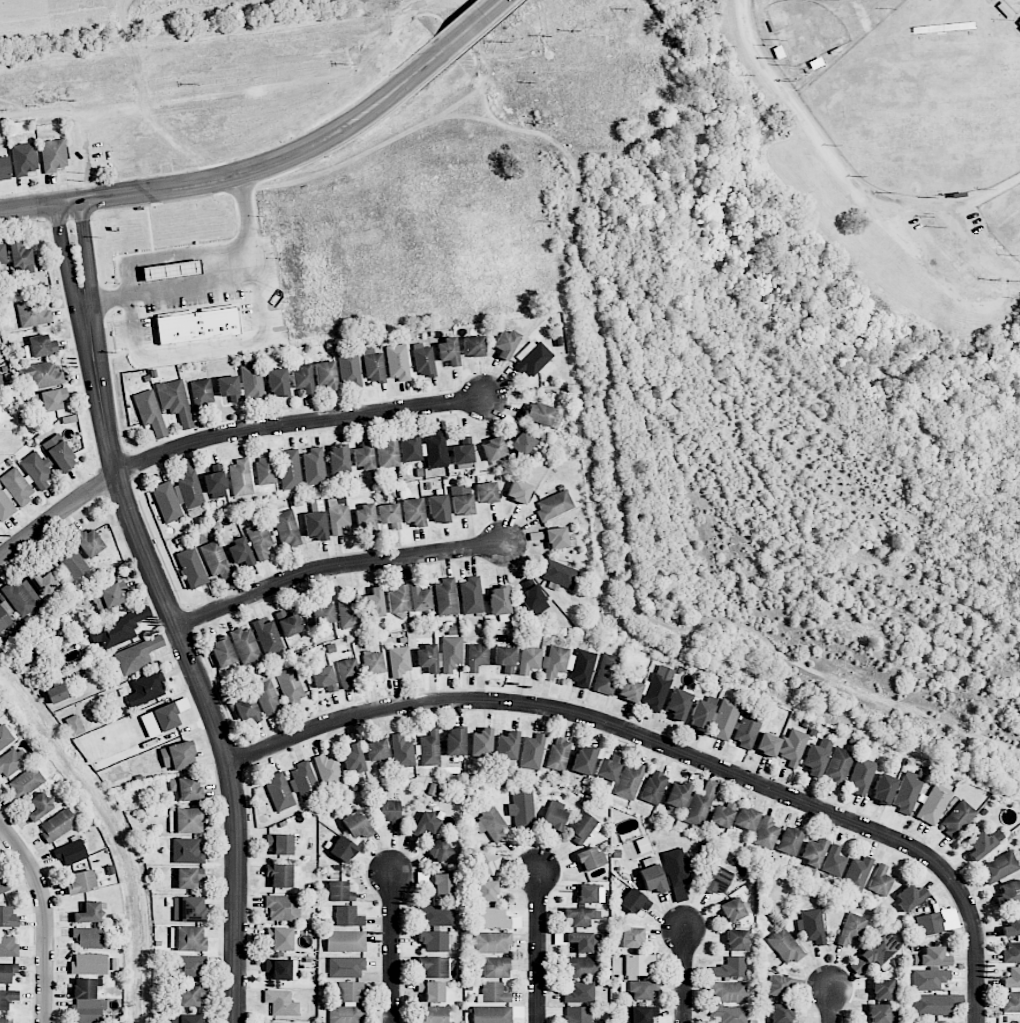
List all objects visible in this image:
building: (1019, 22)
road: (473, 24)
building: (53, 155)
building: (23, 159)
building: (4, 168)
road: (840, 171)
road: (239, 175)
road: (87, 252)
road: (63, 255)
building: (21, 257)
building: (2, 258)
road: (191, 283)
building: (33, 313)
building: (198, 326)
building: (505, 343)
road: (225, 345)
building: (40, 346)
building: (473, 346)
building: (448, 351)
building: (532, 358)
building: (424, 361)
building: (398, 363)
building: (374, 366)
building: (349, 370)
building: (42, 374)
building: (326, 375)
building: (302, 379)
building: (251, 381)
building: (277, 382)
building: (1, 385)
building: (229, 387)
building: (202, 391)
building: (53, 399)
building: (175, 401)
building: (150, 412)
building: (542, 414)
road: (224, 436)
building: (522, 443)
building: (425, 449)
building: (493, 449)
building: (462, 450)
building: (387, 452)
building: (59, 453)
building: (364, 456)
building: (338, 459)
building: (314, 466)
building: (289, 469)
building: (265, 470)
building: (240, 478)
building: (215, 481)
building: (23, 483)
building: (189, 486)
building: (519, 491)
building: (486, 492)
building: (462, 499)
building: (167, 502)
building: (554, 505)
building: (438, 509)
building: (414, 512)
building: (389, 515)
building: (338, 517)
building: (365, 520)
building: (315, 525)
building: (287, 528)
building: (556, 538)
building: (260, 540)
building: (89, 543)
building: (240, 552)
building: (218, 563)
building: (74, 564)
road: (338, 566)
building: (192, 568)
building: (559, 575)
building: (43, 583)
building: (112, 594)
building: (22, 596)
building: (471, 596)
building: (532, 596)
building: (446, 597)
building: (421, 598)
building: (398, 599)
building: (373, 602)
building: (500, 603)
building: (349, 610)
building: (323, 612)
building: (5, 617)
building: (289, 623)
building: (118, 629)
building: (268, 636)
building: (245, 645)
building: (222, 652)
building: (137, 655)
building: (441, 656)
building: (477, 657)
road: (191, 658)
building: (505, 658)
building: (529, 659)
building: (399, 661)
building: (554, 662)
building: (373, 665)
building: (581, 668)
building: (348, 672)
building: (607, 675)
building: (324, 678)
building: (290, 685)
building: (658, 688)
building: (146, 689)
building: (629, 690)
building: (56, 694)
building: (267, 695)
building: (678, 704)
building: (247, 710)
building: (700, 715)
building: (724, 719)
building: (160, 720)
building: (74, 725)
building: (747, 729)
building: (5, 737)
building: (455, 741)
building: (481, 743)
road: (673, 746)
building: (783, 746)
building: (430, 748)
building: (506, 748)
building: (376, 749)
building: (532, 751)
building: (402, 752)
building: (558, 754)
building: (177, 756)
building: (816, 758)
building: (353, 759)
building: (584, 760)
building: (13, 761)
building: (838, 767)
building: (608, 768)
building: (327, 770)
building: (861, 775)
building: (303, 780)
building: (629, 781)
building: (25, 782)
building: (186, 787)
building: (654, 787)
building: (883, 788)
building: (279, 792)
building: (907, 793)
building: (691, 801)
building: (933, 804)
building: (39, 806)
building: (522, 808)
building: (390, 813)
building: (722, 813)
building: (554, 818)
building: (746, 818)
building: (957, 819)
building: (187, 820)
building: (490, 822)
building: (58, 825)
building: (356, 825)
building: (426, 825)
building: (583, 828)
building: (766, 833)
building: (790, 841)
building: (280, 844)
building: (983, 844)
building: (343, 849)
building: (438, 850)
building: (187, 851)
building: (70, 852)
building: (814, 852)
building: (590, 858)
building: (834, 861)
building: (489, 863)
building: (999, 867)
building: (677, 873)
building: (857, 874)
building: (280, 875)
building: (651, 876)
building: (188, 877)
building: (717, 880)
building: (880, 881)
building: (81, 882)
building: (3, 884)
building: (442, 884)
building: (486, 891)
building: (338, 892)
building: (1008, 893)
building: (587, 894)
building: (910, 897)
building: (634, 901)
building: (282, 908)
building: (188, 909)
building: (734, 910)
building: (89, 913)
road: (47, 915)
building: (437, 915)
building: (348, 916)
building: (581, 916)
building: (7, 917)
building: (490, 919)
building: (929, 924)
building: (1012, 927)
building: (852, 929)
building: (632, 937)
building: (88, 938)
building: (187, 938)
building: (281, 938)
building: (433, 940)
building: (736, 940)
building: (346, 941)
building: (582, 942)
building: (492, 943)
road: (392, 945)
road: (538, 945)
building: (785, 945)
building: (8, 946)
building: (881, 950)
building: (1011, 953)
building: (931, 957)
building: (89, 964)
building: (631, 965)
building: (188, 967)
building: (346, 967)
building: (433, 967)
building: (496, 967)
building: (583, 967)
building: (731, 968)
building: (282, 969)
building: (7, 972)
road: (686, 975)
building: (1012, 978)
building: (929, 979)
building: (784, 985)
building: (640, 989)
building: (882, 989)
building: (432, 991)
building: (729, 992)
building: (495, 993)
building: (580, 993)
building: (190, 995)
building: (7, 998)
building: (86, 1002)
building: (1012, 1002)
building: (281, 1003)
building: (348, 1004)
road: (832, 1004)
building: (932, 1004)
building: (781, 1013)
building: (492, 1014)
building: (639, 1014)
building: (730, 1014)
building: (881, 1014)
building: (431, 1015)
building: (578, 1015)
building: (185, 1019)
building: (7, 1020)
building: (932, 1021)

